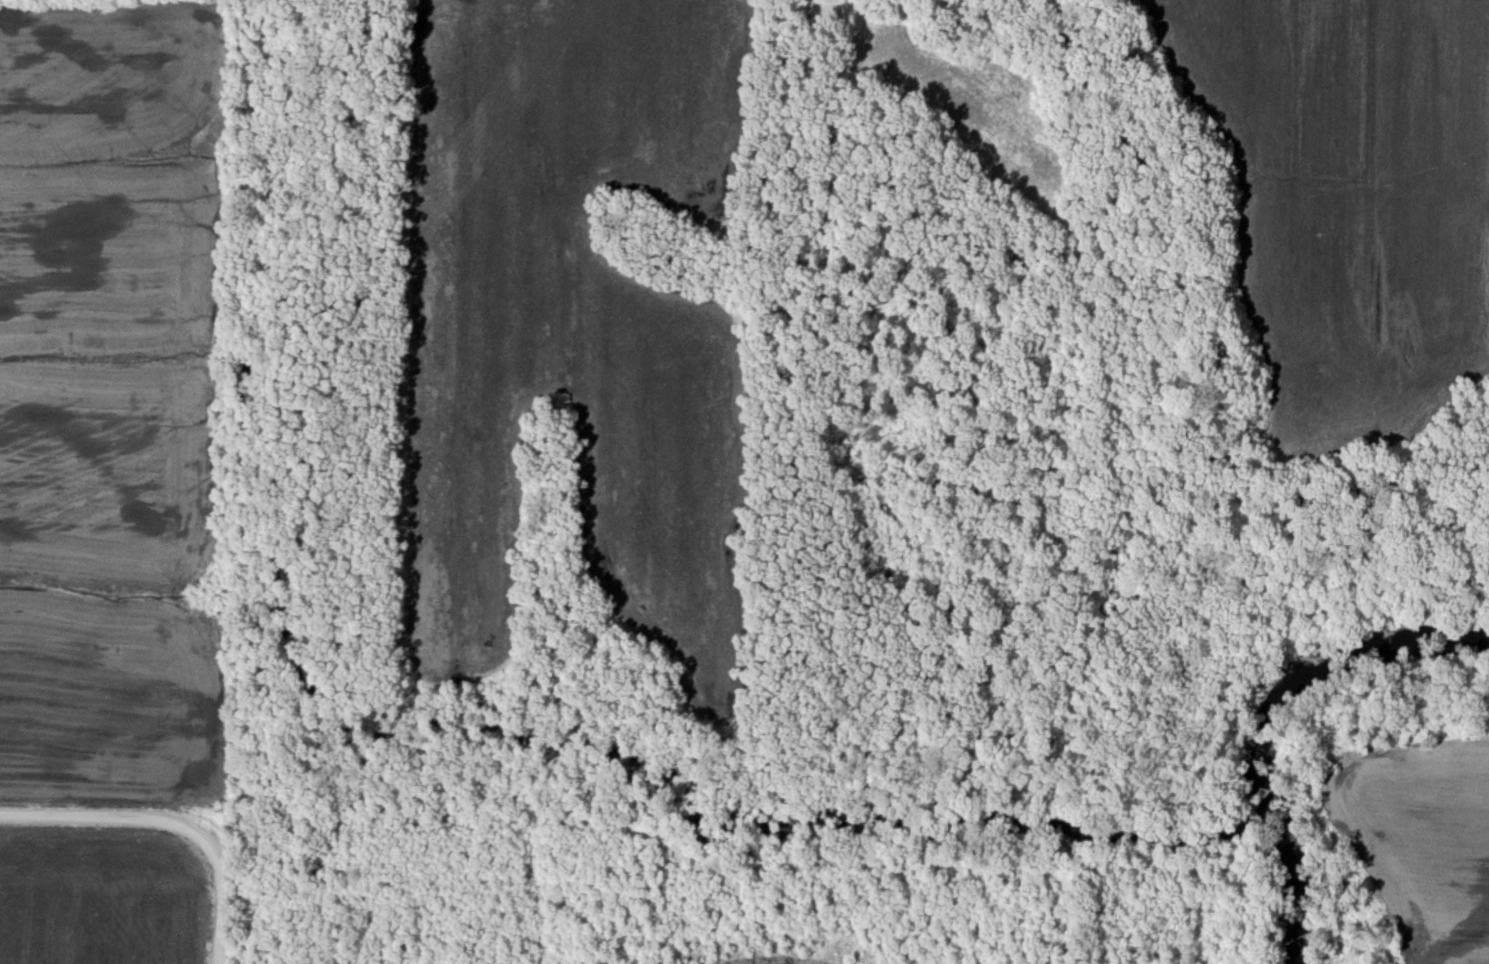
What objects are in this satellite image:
river: (1268, 724)
road: (103, 823)
road: (221, 901)

